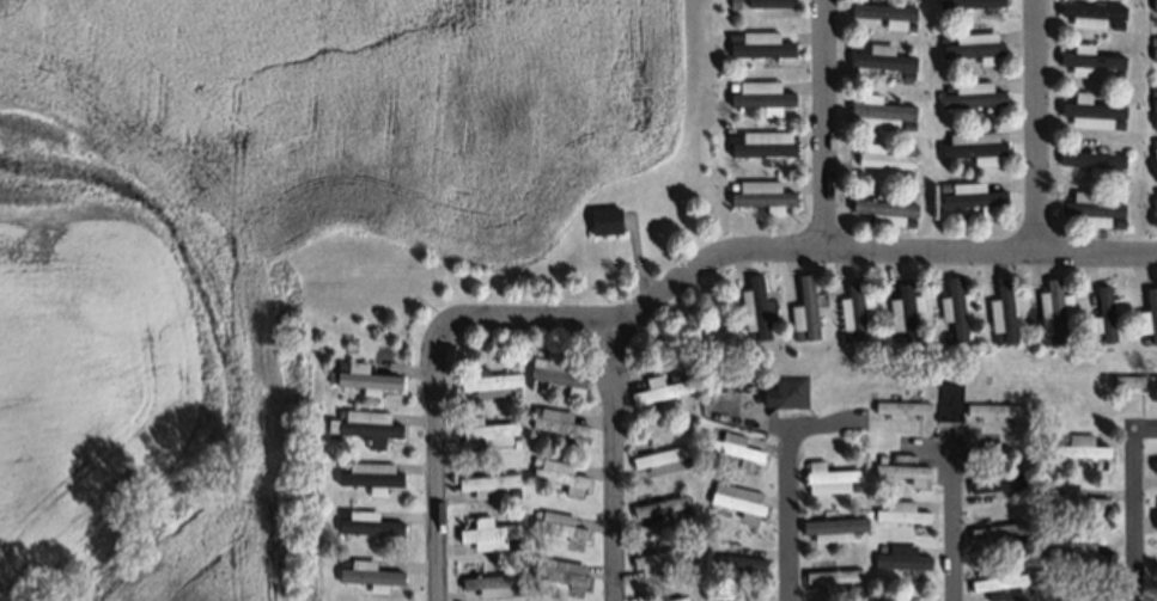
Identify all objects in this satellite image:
building: (757, 2)
building: (966, 2)
building: (1152, 5)
building: (883, 12)
building: (1089, 12)
building: (1115, 23)
building: (912, 26)
building: (731, 36)
building: (942, 36)
building: (1150, 37)
building: (759, 43)
building: (972, 43)
building: (1153, 53)
building: (877, 59)
building: (1090, 63)
building: (1115, 73)
building: (906, 74)
building: (731, 86)
building: (946, 87)
building: (1152, 90)
building: (760, 92)
building: (970, 93)
building: (1153, 103)
building: (877, 111)
building: (1089, 112)
road: (828, 123)
building: (1116, 123)
building: (906, 124)
road: (1040, 125)
building: (731, 135)
building: (1153, 140)
building: (760, 142)
building: (972, 142)
building: (1153, 153)
building: (1090, 157)
building: (882, 158)
building: (905, 173)
building: (1118, 173)
building: (730, 185)
building: (943, 186)
building: (1155, 190)
building: (759, 192)
building: (970, 194)
building: (1153, 203)
building: (883, 209)
building: (1091, 210)
building: (604, 221)
building: (909, 221)
building: (1118, 222)
road: (791, 247)
building: (753, 306)
building: (802, 307)
building: (951, 308)
building: (1049, 308)
building: (852, 309)
building: (901, 309)
building: (1000, 309)
building: (1151, 311)
building: (1103, 312)
building: (747, 335)
building: (796, 335)
building: (844, 335)
building: (895, 336)
building: (945, 337)
building: (994, 338)
building: (1043, 338)
building: (1092, 339)
building: (337, 364)
building: (510, 364)
building: (328, 375)
building: (556, 375)
building: (671, 375)
building: (364, 379)
building: (1134, 380)
building: (488, 384)
building: (659, 390)
building: (785, 391)
building: (514, 392)
building: (946, 397)
building: (900, 406)
building: (991, 407)
building: (534, 409)
building: (339, 412)
building: (556, 423)
building: (366, 427)
building: (486, 431)
building: (1058, 436)
building: (516, 442)
building: (733, 444)
building: (1080, 444)
road: (616, 458)
building: (881, 458)
building: (534, 459)
building: (659, 460)
road: (438, 462)
building: (687, 462)
building: (340, 465)
building: (1155, 467)
building: (900, 468)
building: (559, 476)
building: (367, 477)
building: (828, 479)
building: (995, 482)
building: (485, 483)
building: (853, 486)
building: (1052, 489)
building: (512, 491)
building: (1017, 491)
building: (736, 496)
building: (1077, 497)
building: (881, 502)
road: (792, 507)
building: (659, 509)
building: (686, 510)
road: (957, 510)
building: (341, 513)
building: (536, 513)
building: (1153, 513)
building: (899, 514)
road: (1133, 515)
building: (366, 526)
building: (555, 526)
building: (832, 527)
building: (997, 529)
building: (486, 535)
building: (853, 536)
building: (511, 544)
building: (1078, 552)
building: (658, 553)
building: (900, 556)
building: (342, 557)
building: (686, 558)
building: (735, 560)
building: (556, 564)
building: (369, 569)
building: (1155, 569)
building: (488, 578)
building: (830, 578)
building: (997, 581)
building: (852, 583)
building: (1018, 590)
building: (660, 596)
building: (1060, 597)
building: (715, 599)
building: (736, 600)
building: (902, 600)

